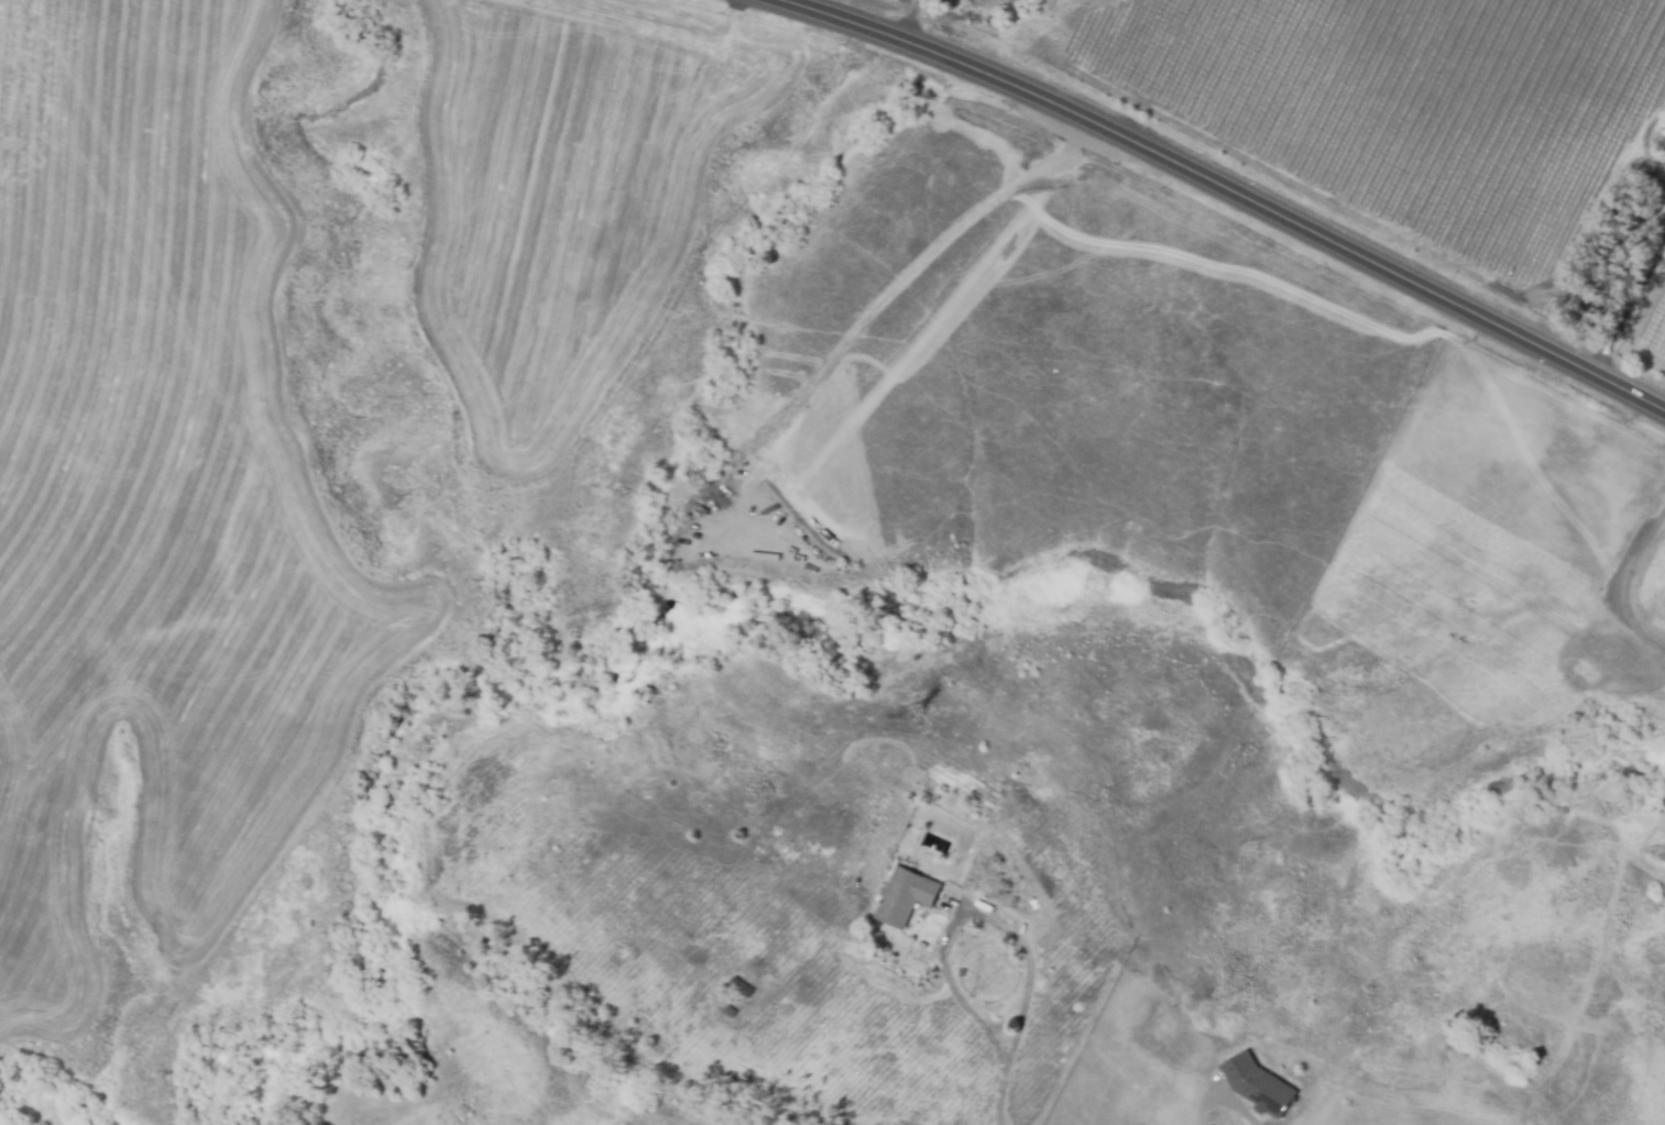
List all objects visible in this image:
road: (1234, 189)
road: (1629, 306)
road: (1625, 582)
road: (679, 594)
power tower: (913, 718)
building: (905, 897)
road: (977, 919)
building: (741, 989)
building: (730, 1012)
building: (1258, 1085)
road: (1003, 1093)
road: (1238, 1107)

